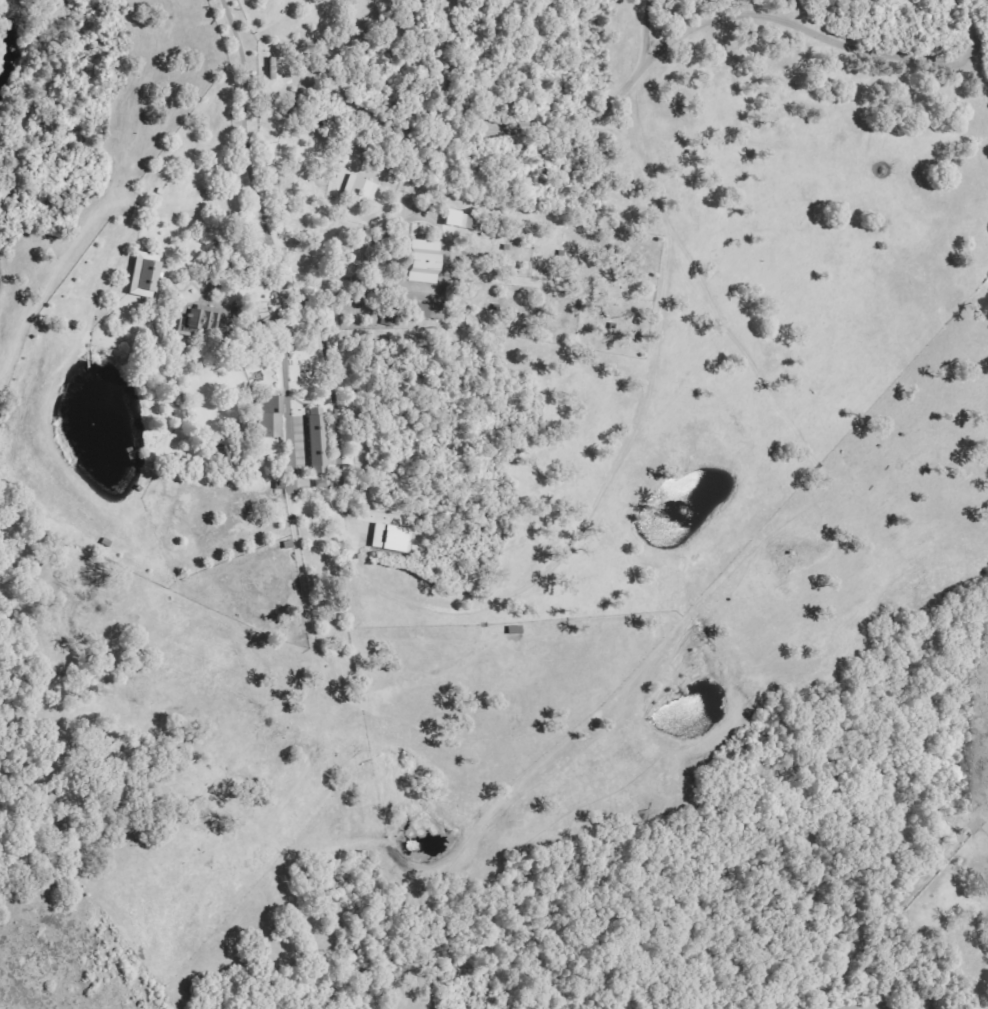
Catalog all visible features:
road: (826, 28)
road: (537, 118)
road: (244, 167)
building: (361, 191)
building: (427, 263)
building: (146, 275)
building: (428, 312)
building: (201, 321)
building: (272, 418)
building: (320, 442)
building: (392, 539)

